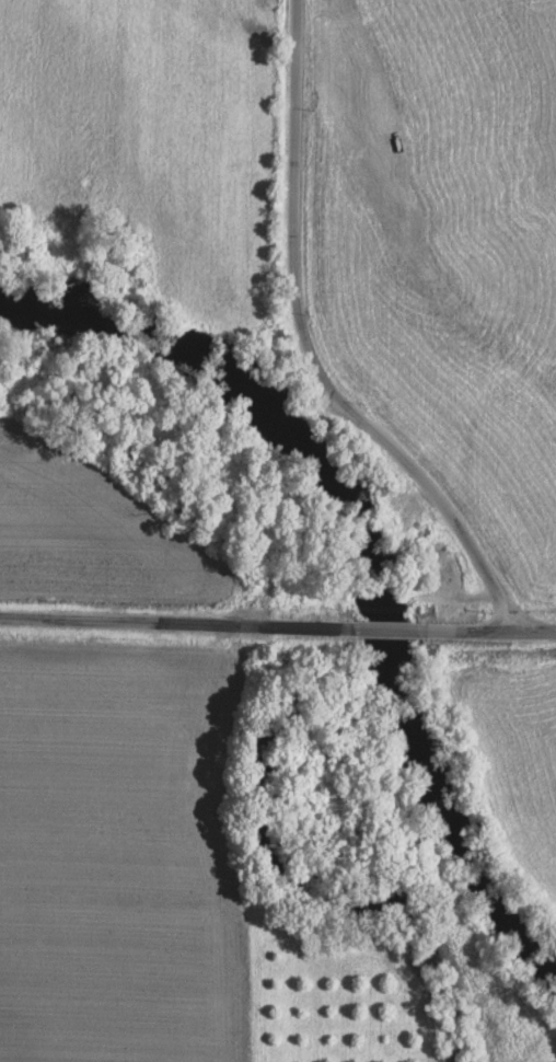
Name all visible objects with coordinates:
road: (290, 205)
road: (452, 518)
road: (173, 620)
road: (385, 626)
road: (470, 628)

